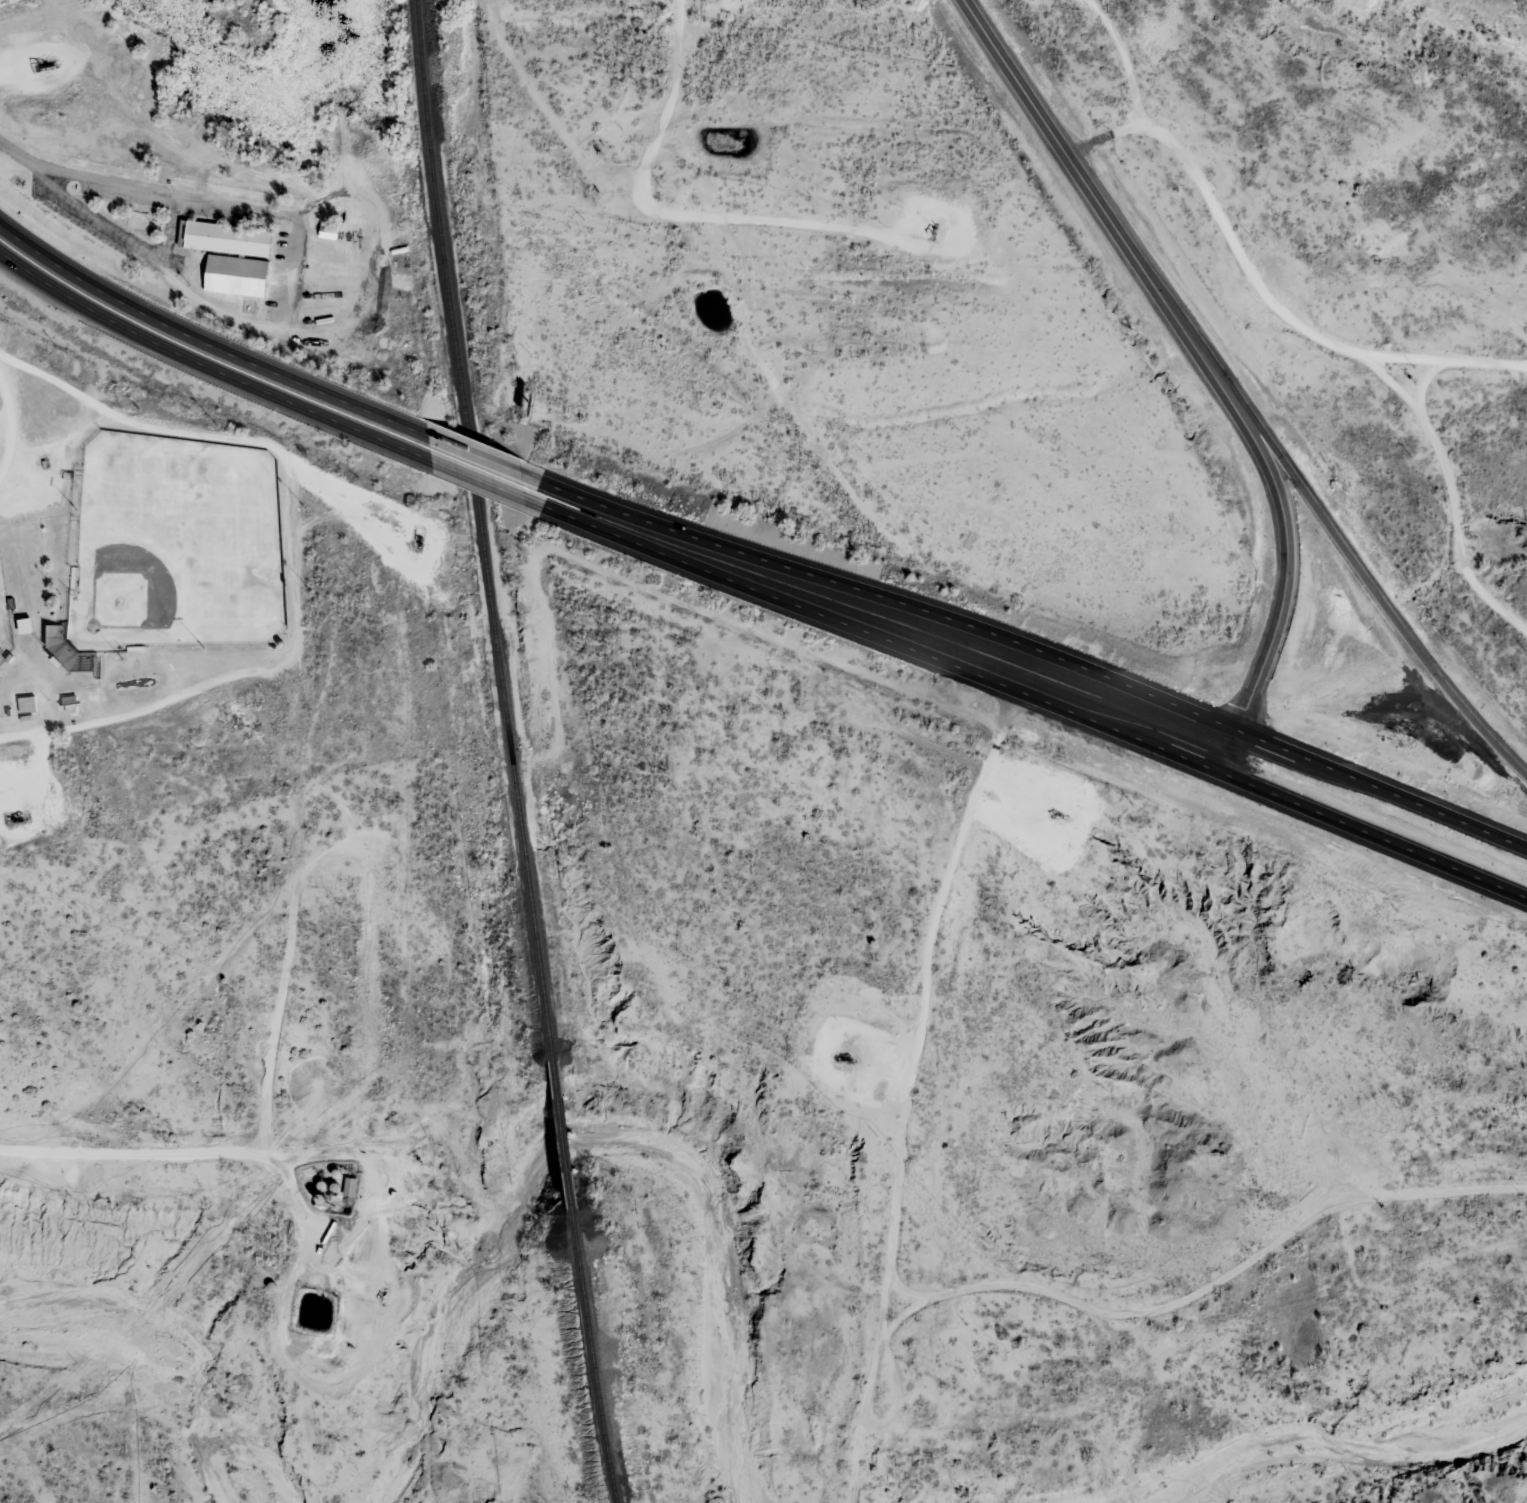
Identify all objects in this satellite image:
road: (17, 162)
road: (694, 217)
road: (165, 235)
building: (323, 236)
building: (221, 246)
building: (395, 256)
building: (230, 283)
road: (288, 300)
road: (196, 340)
road: (1330, 341)
road: (1445, 358)
road: (1211, 364)
road: (206, 367)
road: (1426, 378)
road: (55, 387)
road: (2, 418)
road: (5, 430)
road: (233, 440)
road: (470, 452)
road: (4, 476)
road: (481, 482)
railway: (482, 528)
park: (171, 551)
park: (162, 595)
road: (1392, 616)
building: (22, 625)
road: (991, 632)
park: (2, 637)
building: (63, 657)
road: (964, 671)
building: (24, 705)
road: (157, 708)
road: (1482, 831)
road: (1458, 869)
railway: (550, 1078)
railway: (558, 1139)
building: (347, 1188)
road: (922, 1295)
railway: (587, 1341)
road: (1523, 1499)

